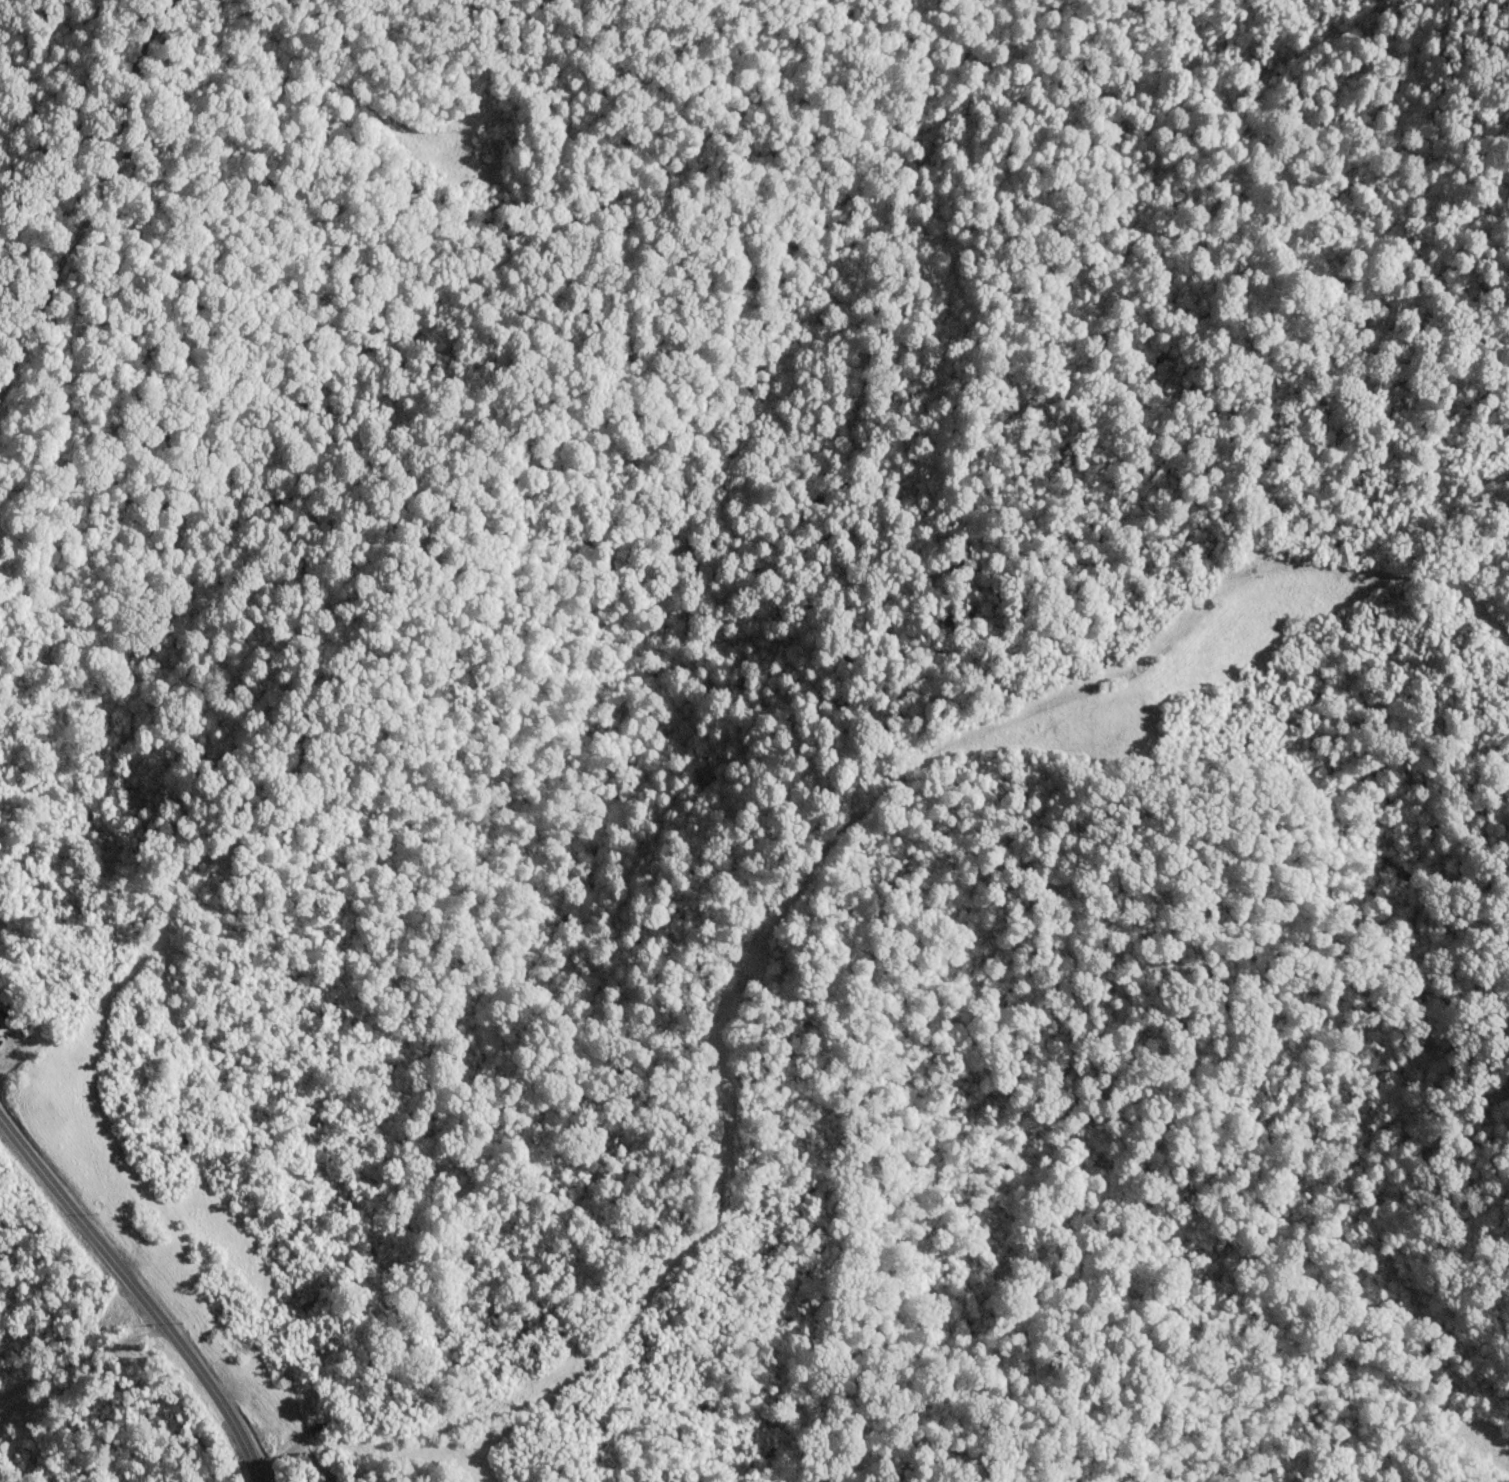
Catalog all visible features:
building: (182, 1137)
road: (136, 1291)
road: (80, 1357)

